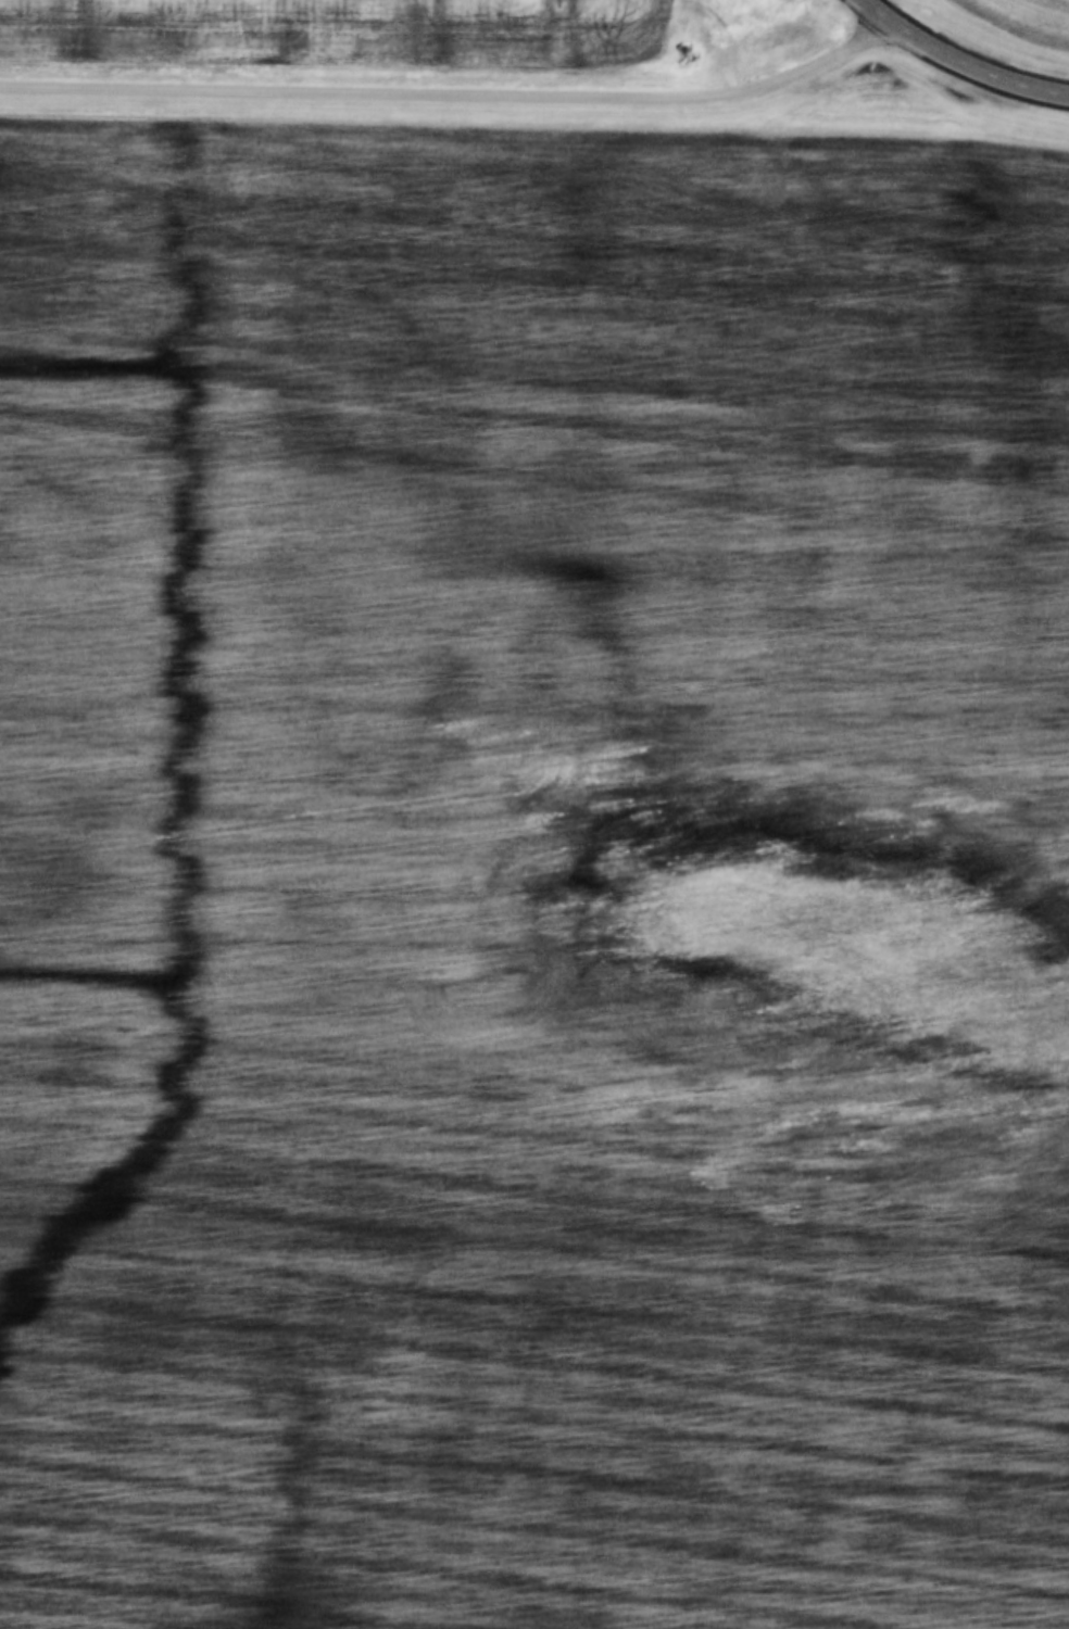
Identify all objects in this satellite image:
road: (877, 9)
crop: (1023, 16)
crop: (339, 31)
road: (972, 68)
road: (453, 98)
crop: (518, 876)

